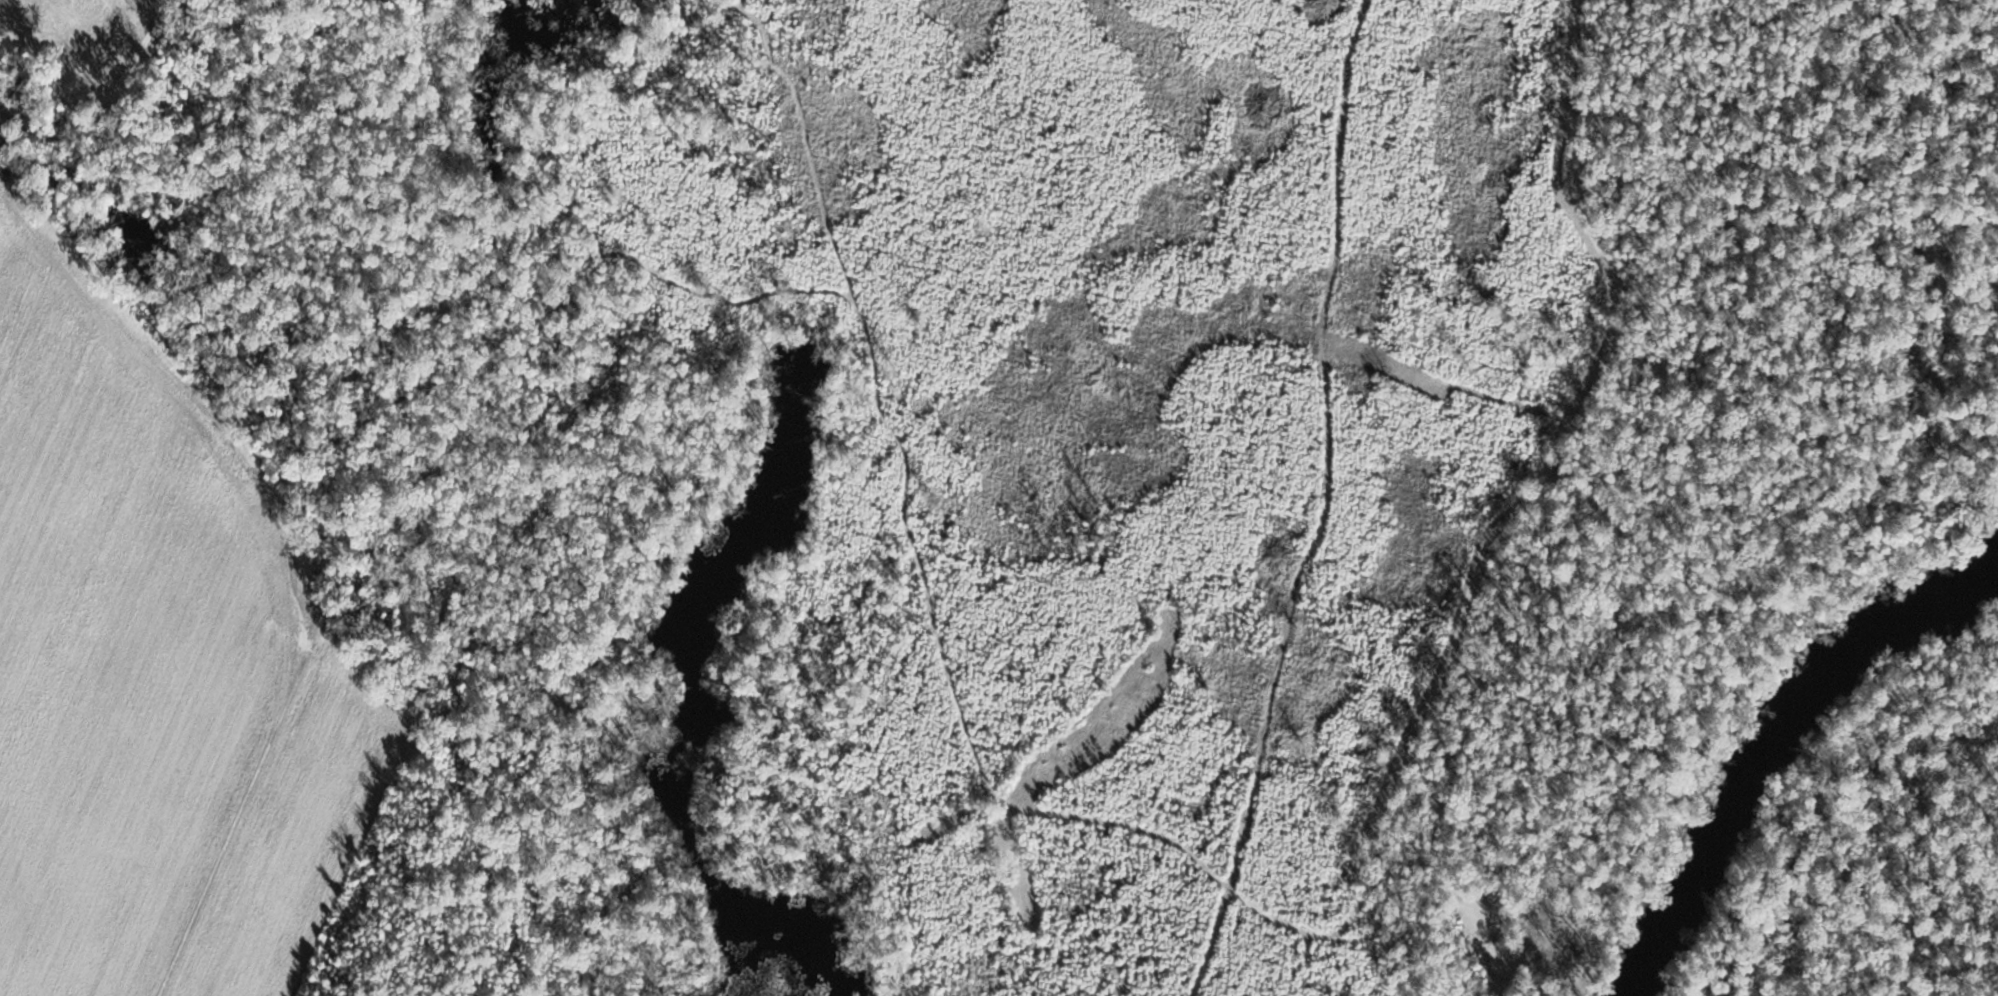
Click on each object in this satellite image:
river: (1775, 743)
airport: (1876, 852)

